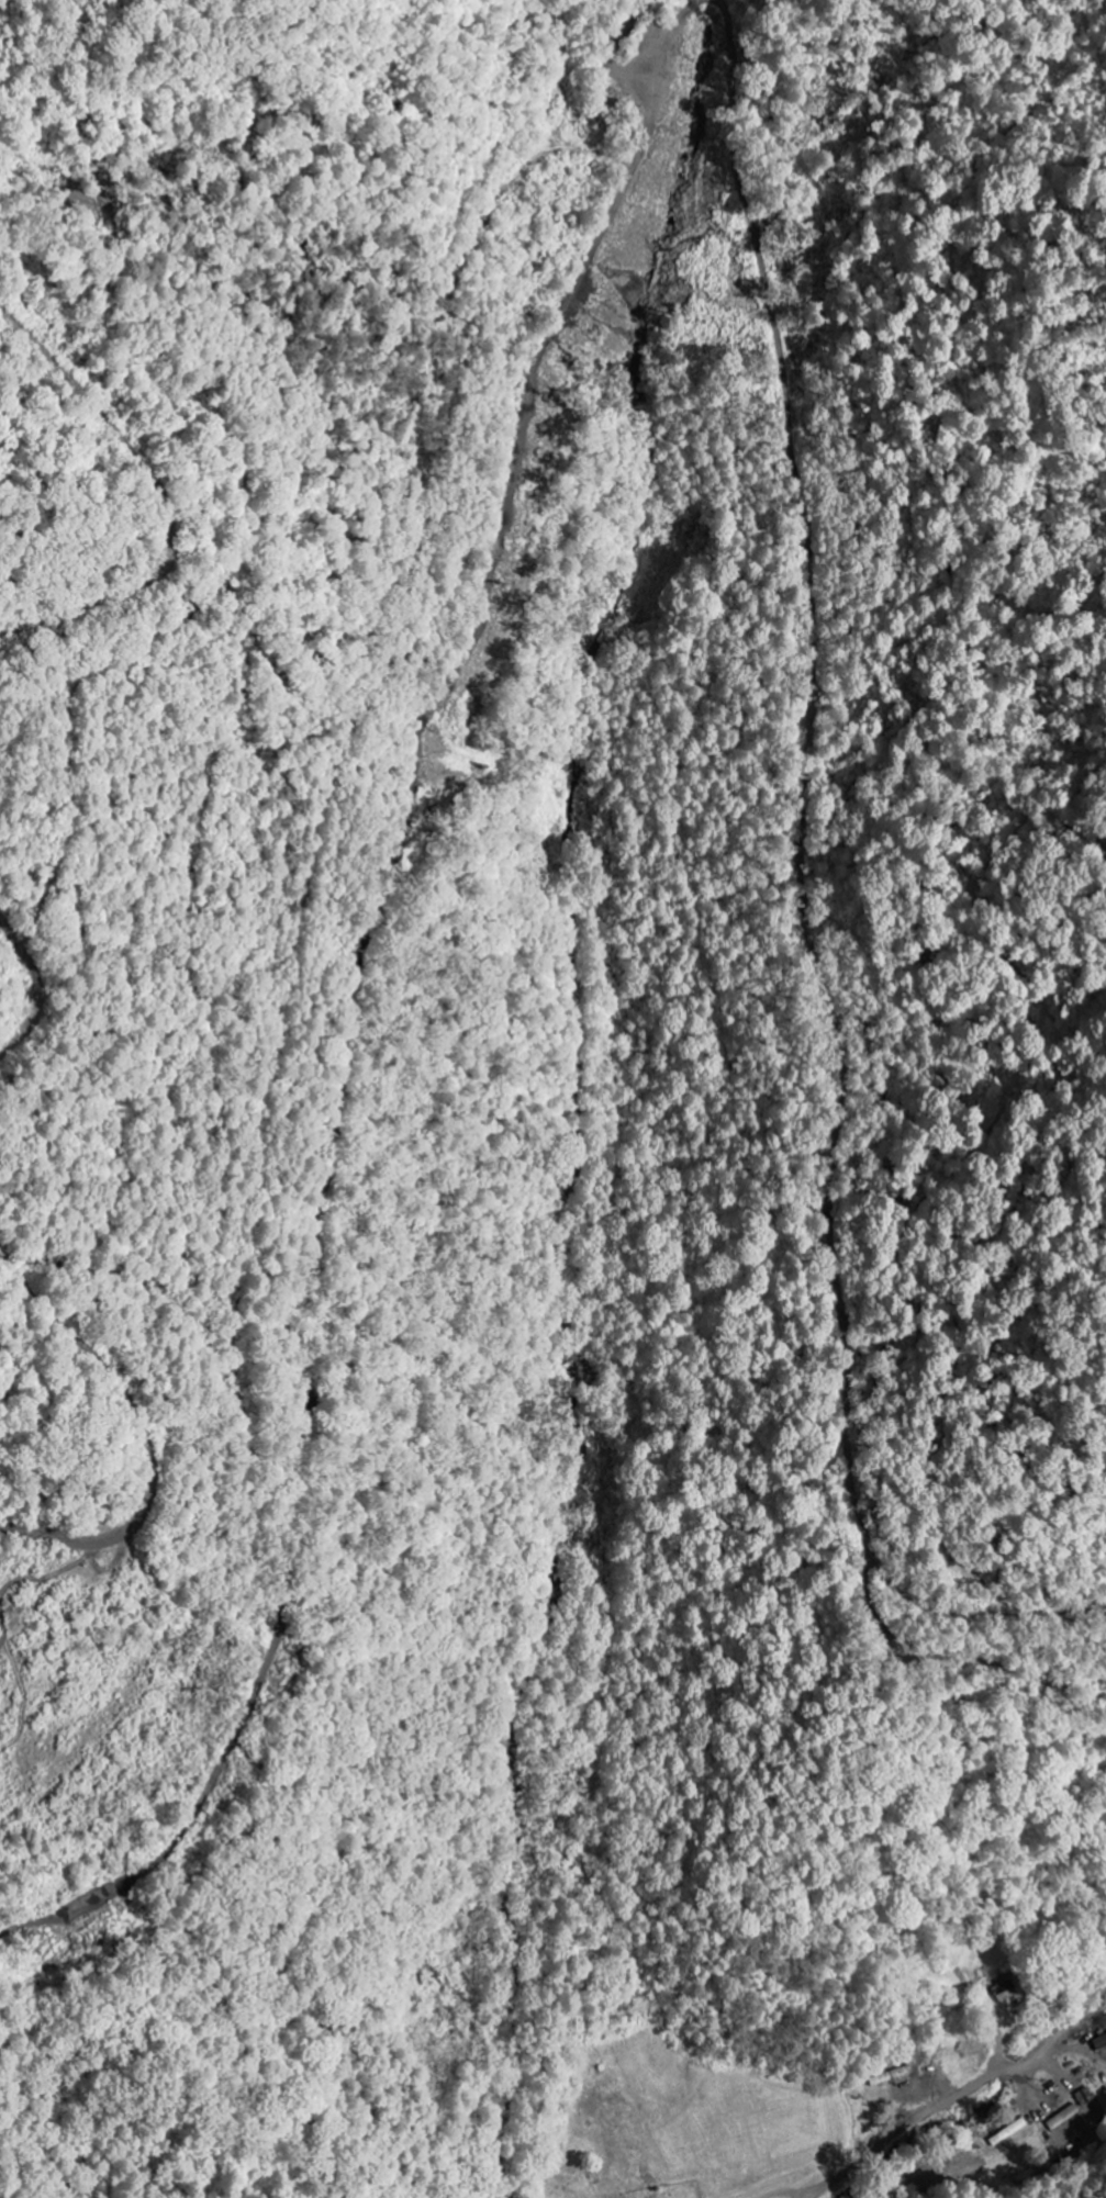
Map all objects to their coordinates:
building: (880, 2078)
building: (1084, 2097)
road: (948, 2099)
building: (1062, 2117)

